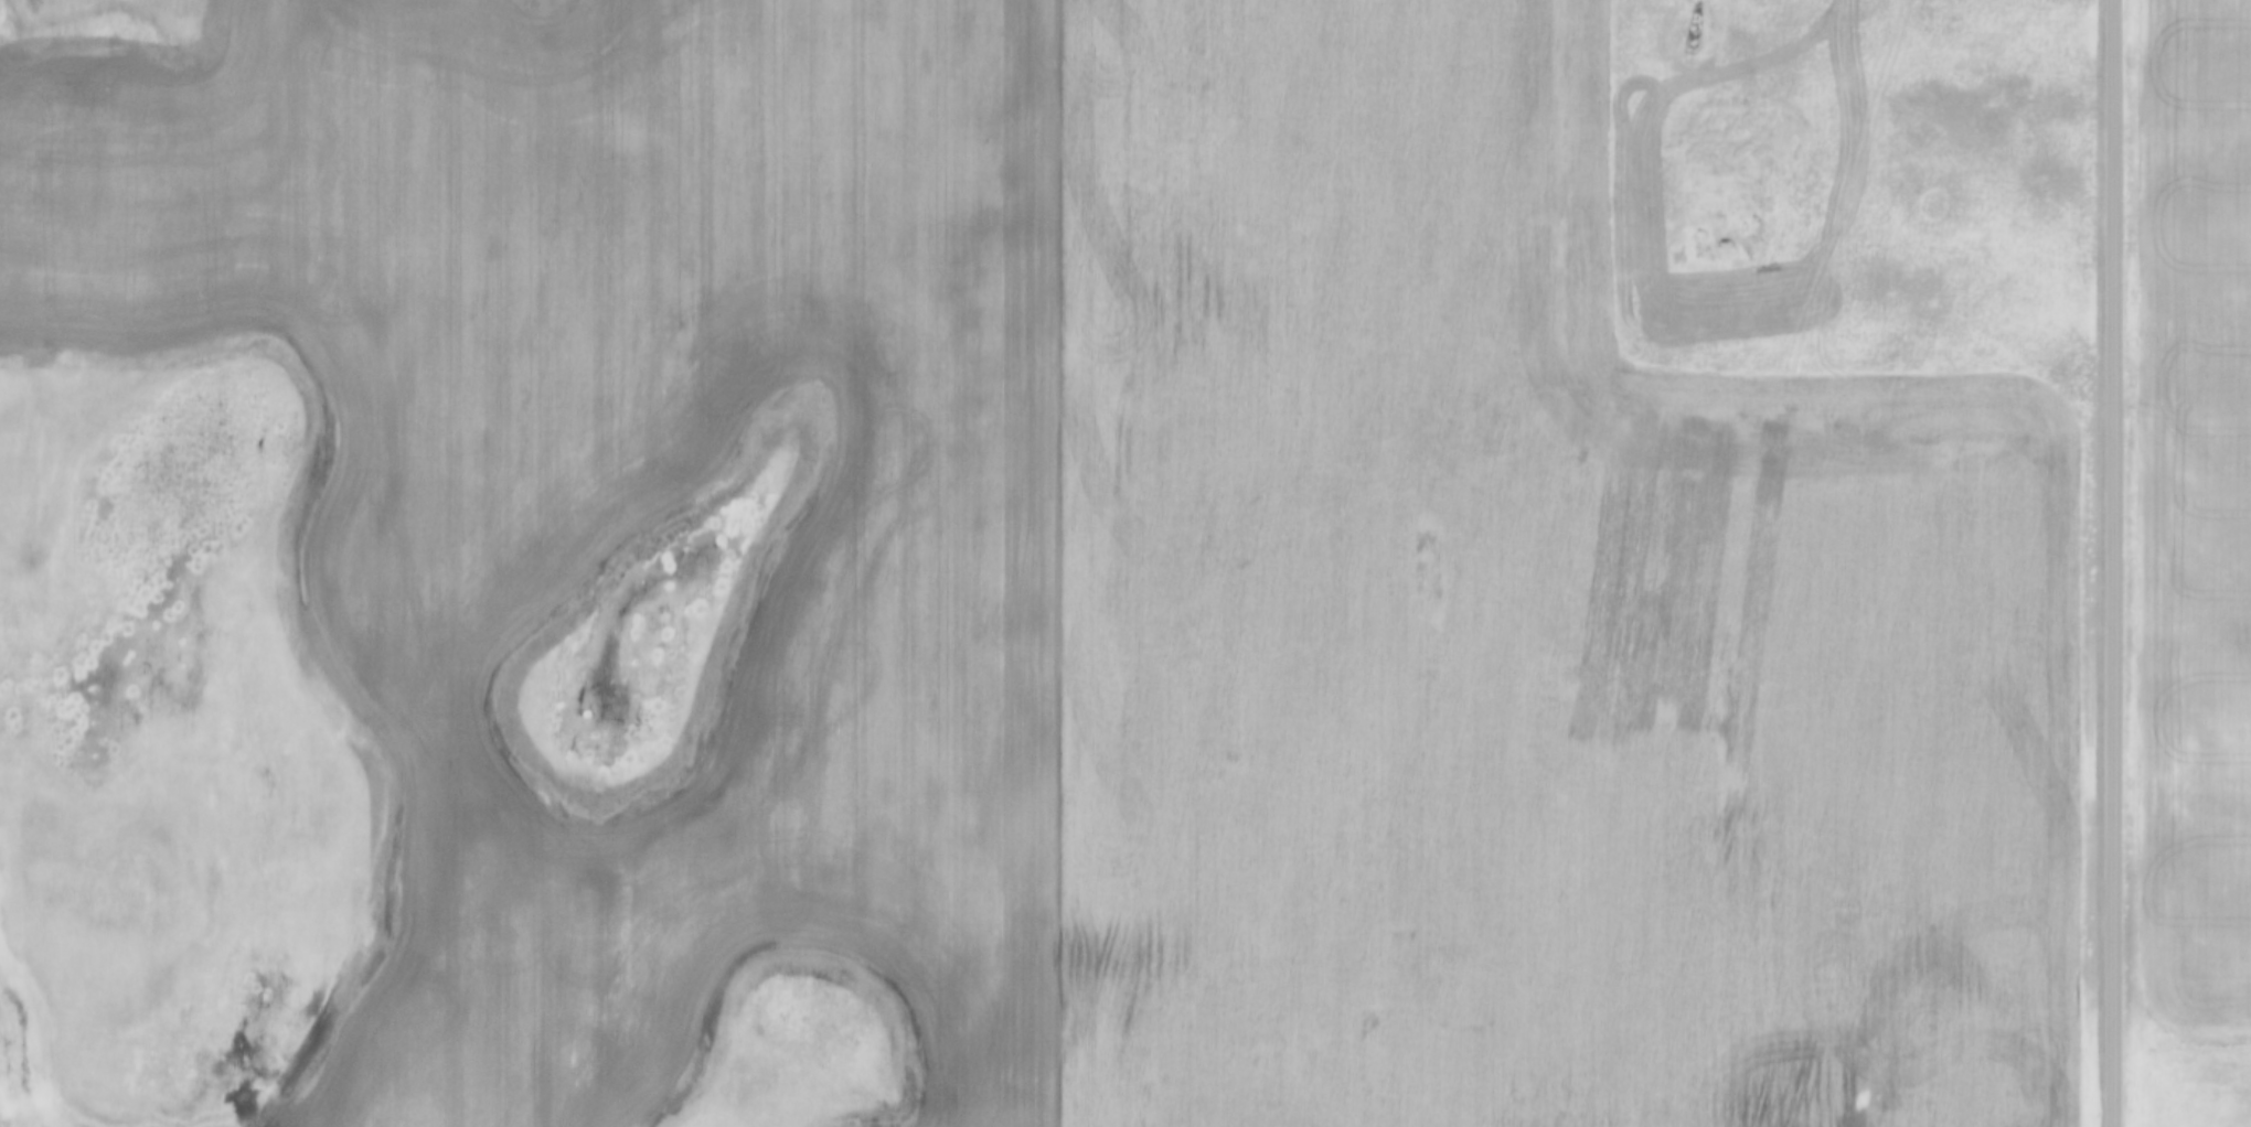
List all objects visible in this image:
road: (2115, 563)

